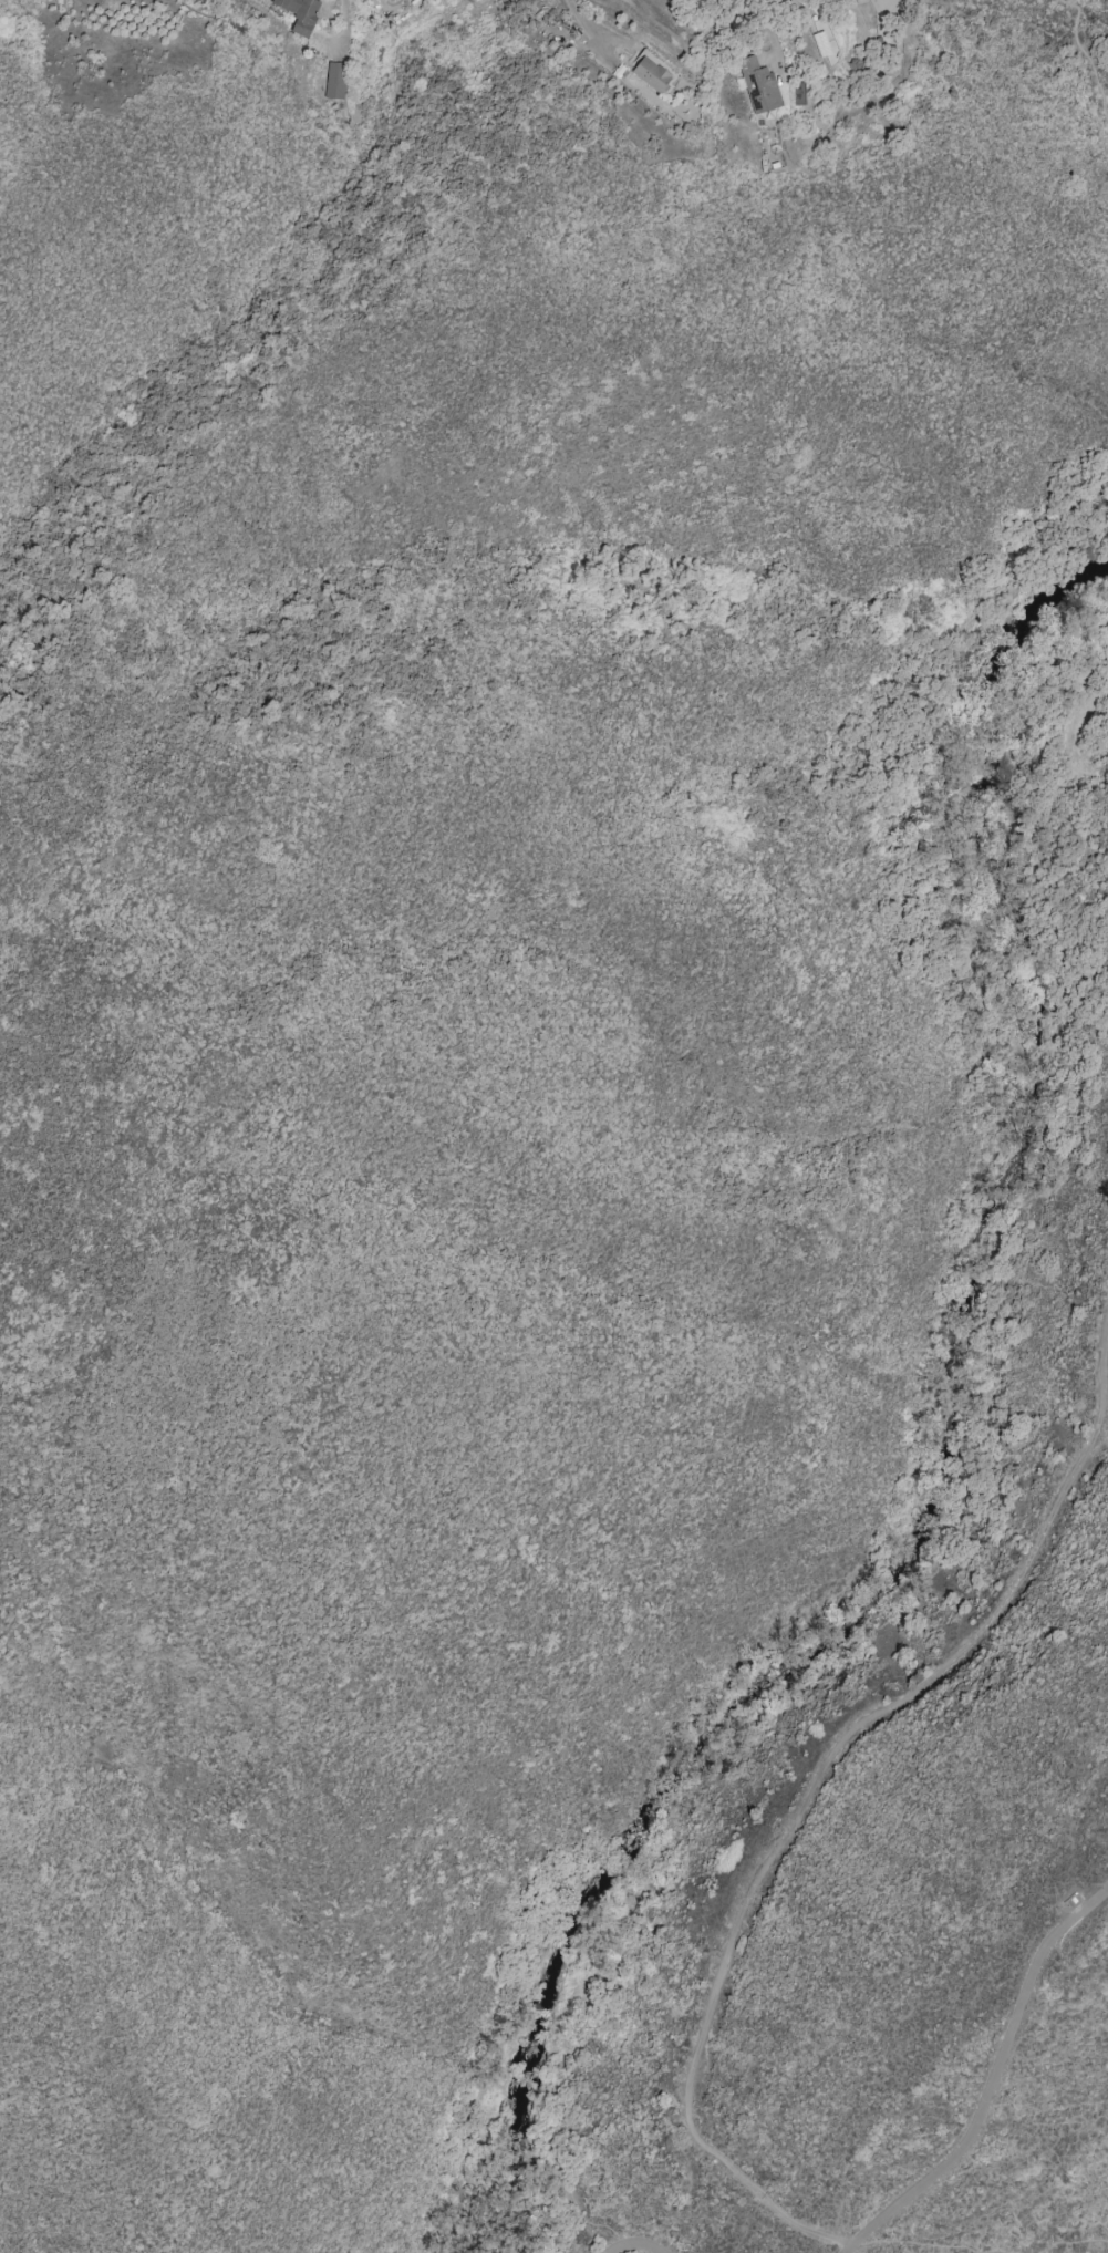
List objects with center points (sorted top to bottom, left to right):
building: (300, 13)
road: (345, 28)
road: (586, 30)
road: (769, 31)
road: (1087, 56)
building: (652, 72)
building: (334, 81)
building: (758, 85)
road: (1074, 711)
road: (1085, 769)
road: (897, 1606)
road: (811, 1789)
road: (993, 2071)
road: (1073, 2242)
road: (932, 2245)
road: (635, 2246)
road: (853, 2247)
road: (1107, 2250)

